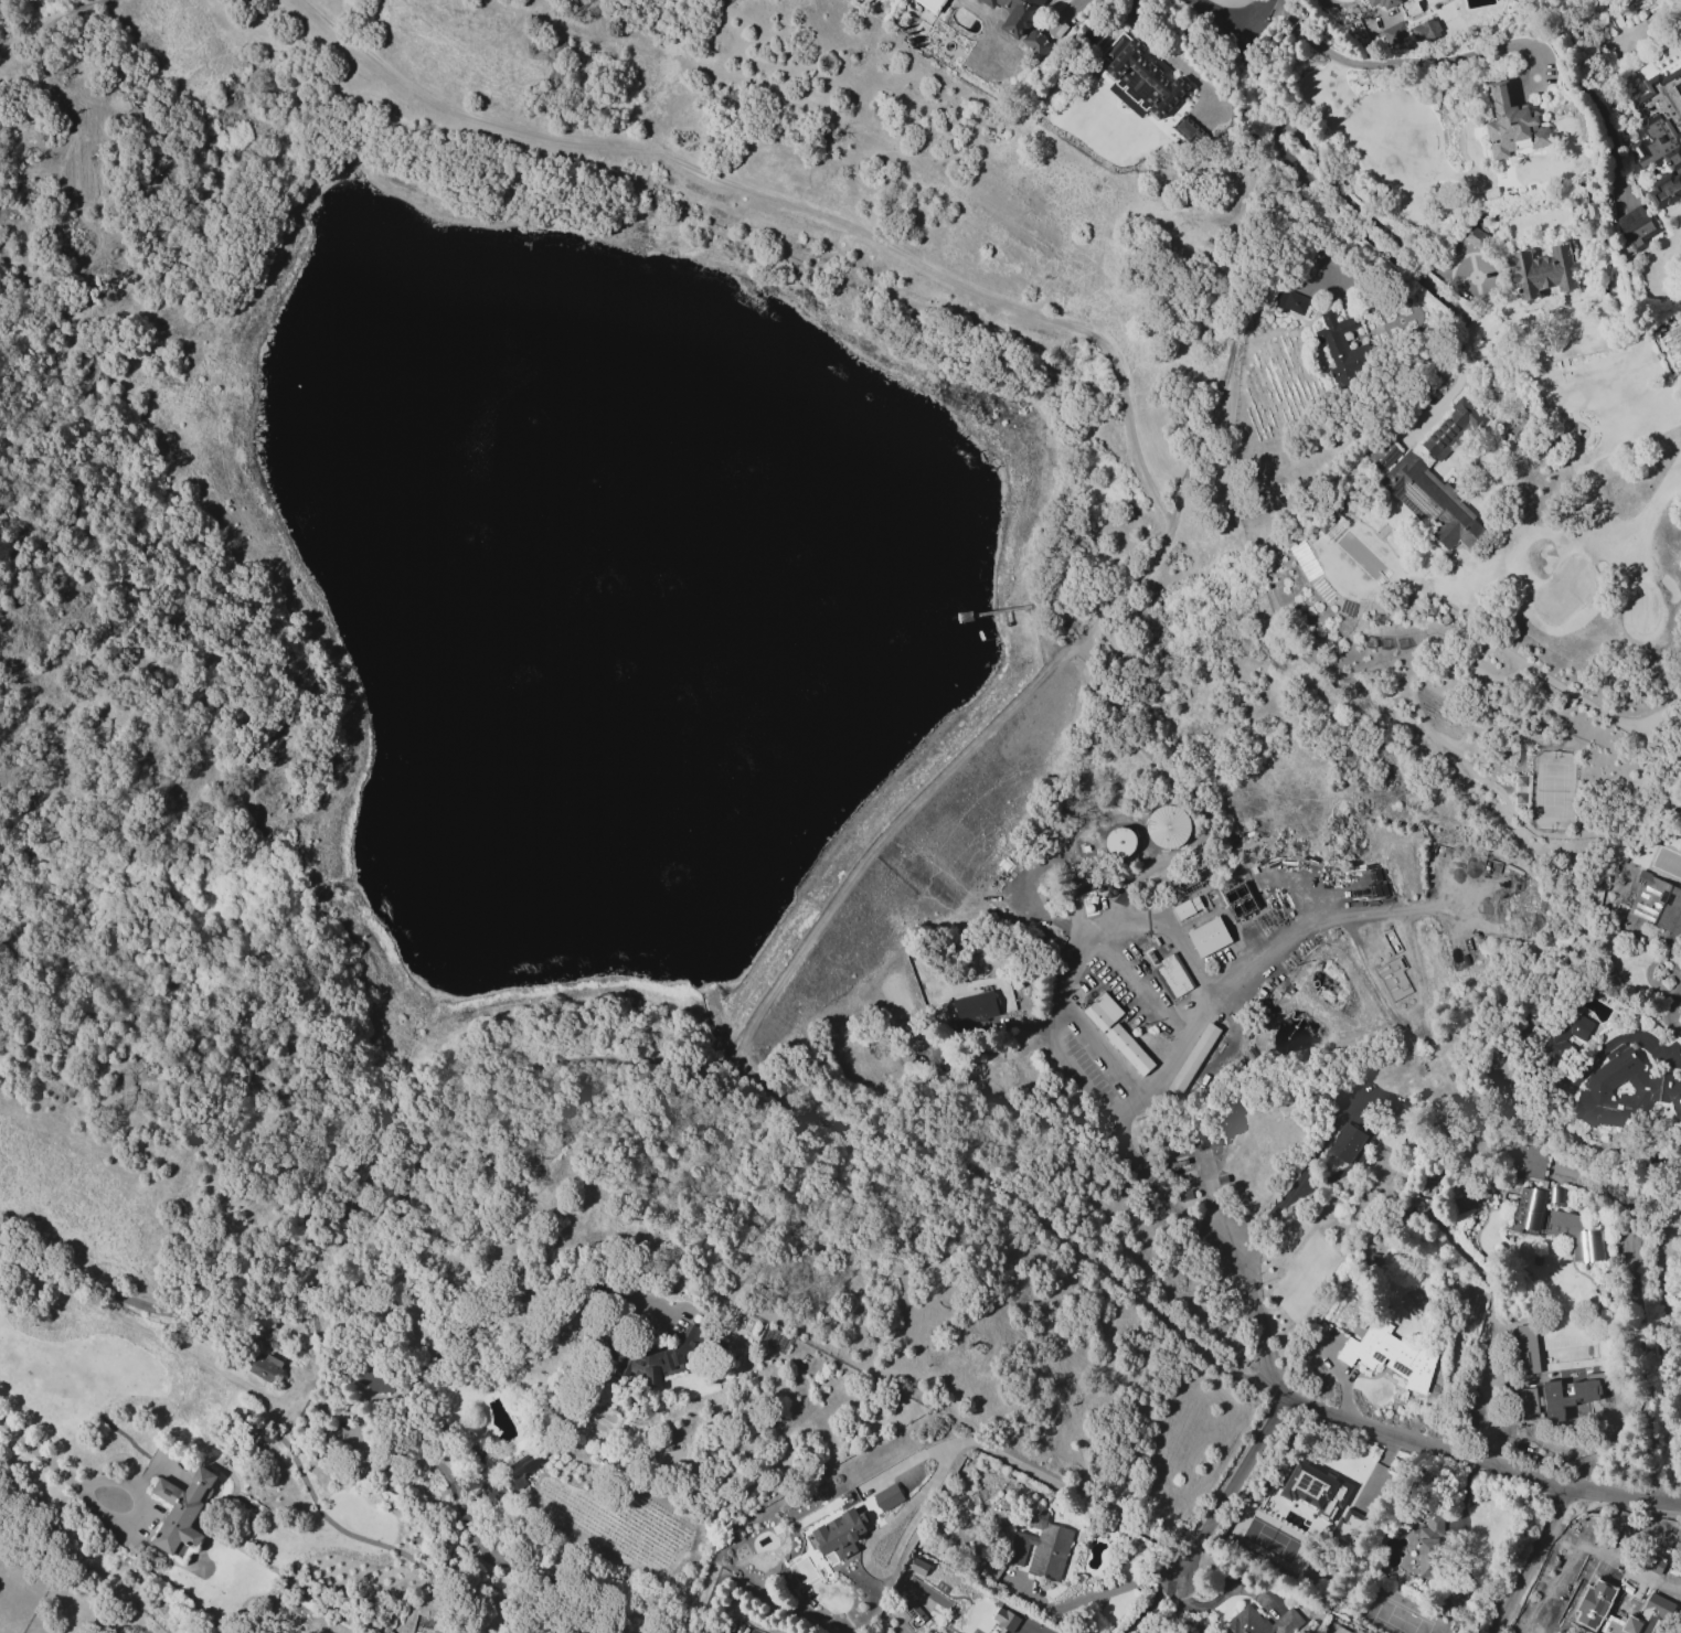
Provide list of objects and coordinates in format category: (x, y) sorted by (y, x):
building: (924, 3)
building: (1383, 3)
road: (1258, 12)
building: (1017, 13)
road: (1220, 13)
building: (1610, 21)
road: (45, 23)
building: (1393, 33)
building: (1417, 33)
building: (1035, 43)
road: (1397, 62)
building: (1138, 78)
building: (1512, 125)
building: (1187, 129)
building: (1660, 134)
road: (1328, 194)
road: (788, 203)
building: (1592, 211)
building: (1641, 234)
building: (1476, 238)
building: (1543, 271)
building: (1297, 303)
building: (1680, 317)
building: (1342, 350)
road: (1454, 385)
building: (1453, 428)
building: (1384, 456)
building: (1432, 502)
road: (1006, 708)
building: (1168, 826)
dam: (889, 830)
building: (1120, 842)
building: (1104, 895)
building: (1240, 899)
building: (1188, 908)
building: (1652, 909)
road: (1173, 937)
building: (1210, 937)
building: (1393, 942)
building: (1460, 950)
building: (1175, 975)
building: (1393, 978)
building: (976, 1005)
road: (1669, 1010)
building: (1117, 1033)
building: (1558, 1037)
road: (1604, 1046)
road: (1103, 1047)
road: (1178, 1048)
building: (1194, 1059)
road: (1077, 1078)
building: (1656, 1086)
building: (1389, 1104)
road: (1123, 1109)
building: (1207, 1141)
building: (1347, 1143)
building: (1531, 1163)
building: (1556, 1195)
road: (1276, 1204)
building: (1672, 1217)
building: (1557, 1226)
road: (1215, 1240)
road: (1490, 1287)
road: (1642, 1319)
building: (1391, 1355)
building: (663, 1358)
building: (267, 1368)
building: (372, 1380)
building: (1567, 1395)
building: (1526, 1400)
building: (482, 1459)
road: (1472, 1459)
road: (49, 1463)
building: (520, 1469)
road: (1029, 1469)
road: (1228, 1483)
building: (1313, 1490)
building: (889, 1497)
building: (182, 1511)
building: (1348, 1526)
building: (838, 1536)
building: (1429, 1546)
building: (1042, 1547)
road: (1532, 1559)
building: (916, 1567)
building: (990, 1568)
road: (1609, 1570)
road: (1148, 1602)
building: (911, 1608)
building: (1648, 1616)
building: (1004, 1619)
building: (1262, 1622)
building: (977, 1631)
road: (1043, 1632)

